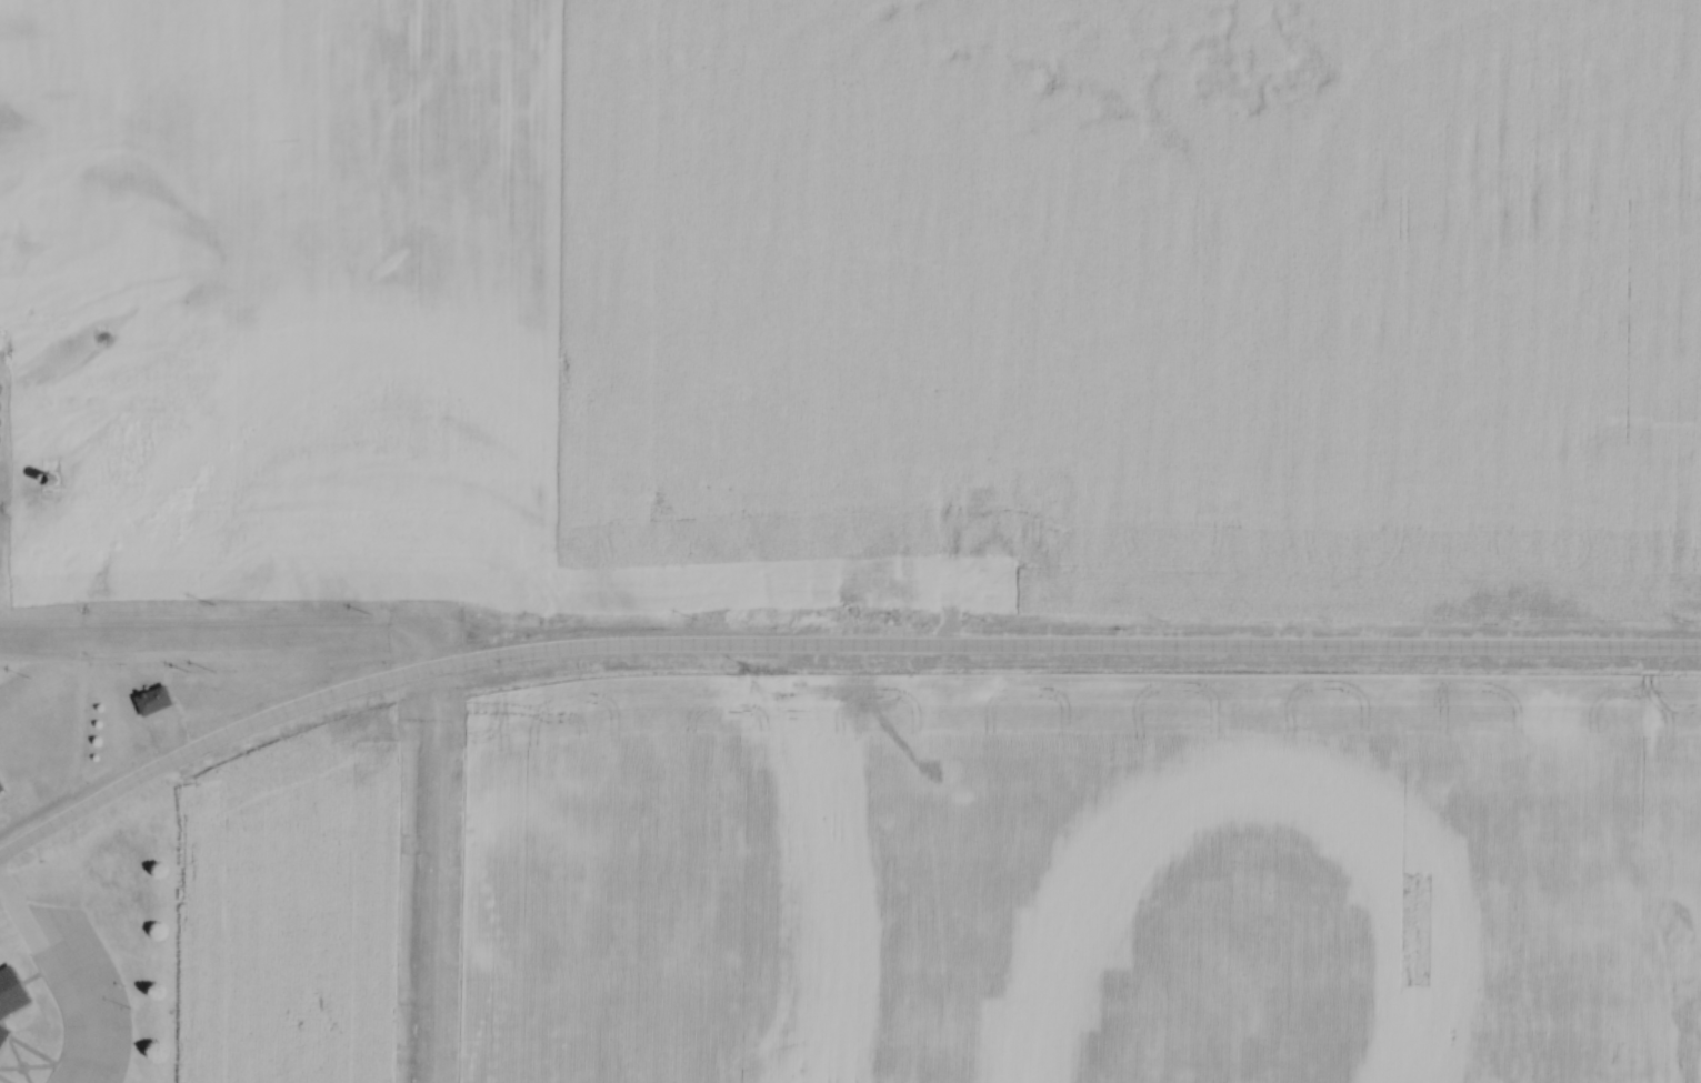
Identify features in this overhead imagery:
road: (1070, 649)
building: (157, 702)
road: (212, 743)
building: (2, 793)
road: (49, 974)
building: (11, 991)
building: (3, 1033)

